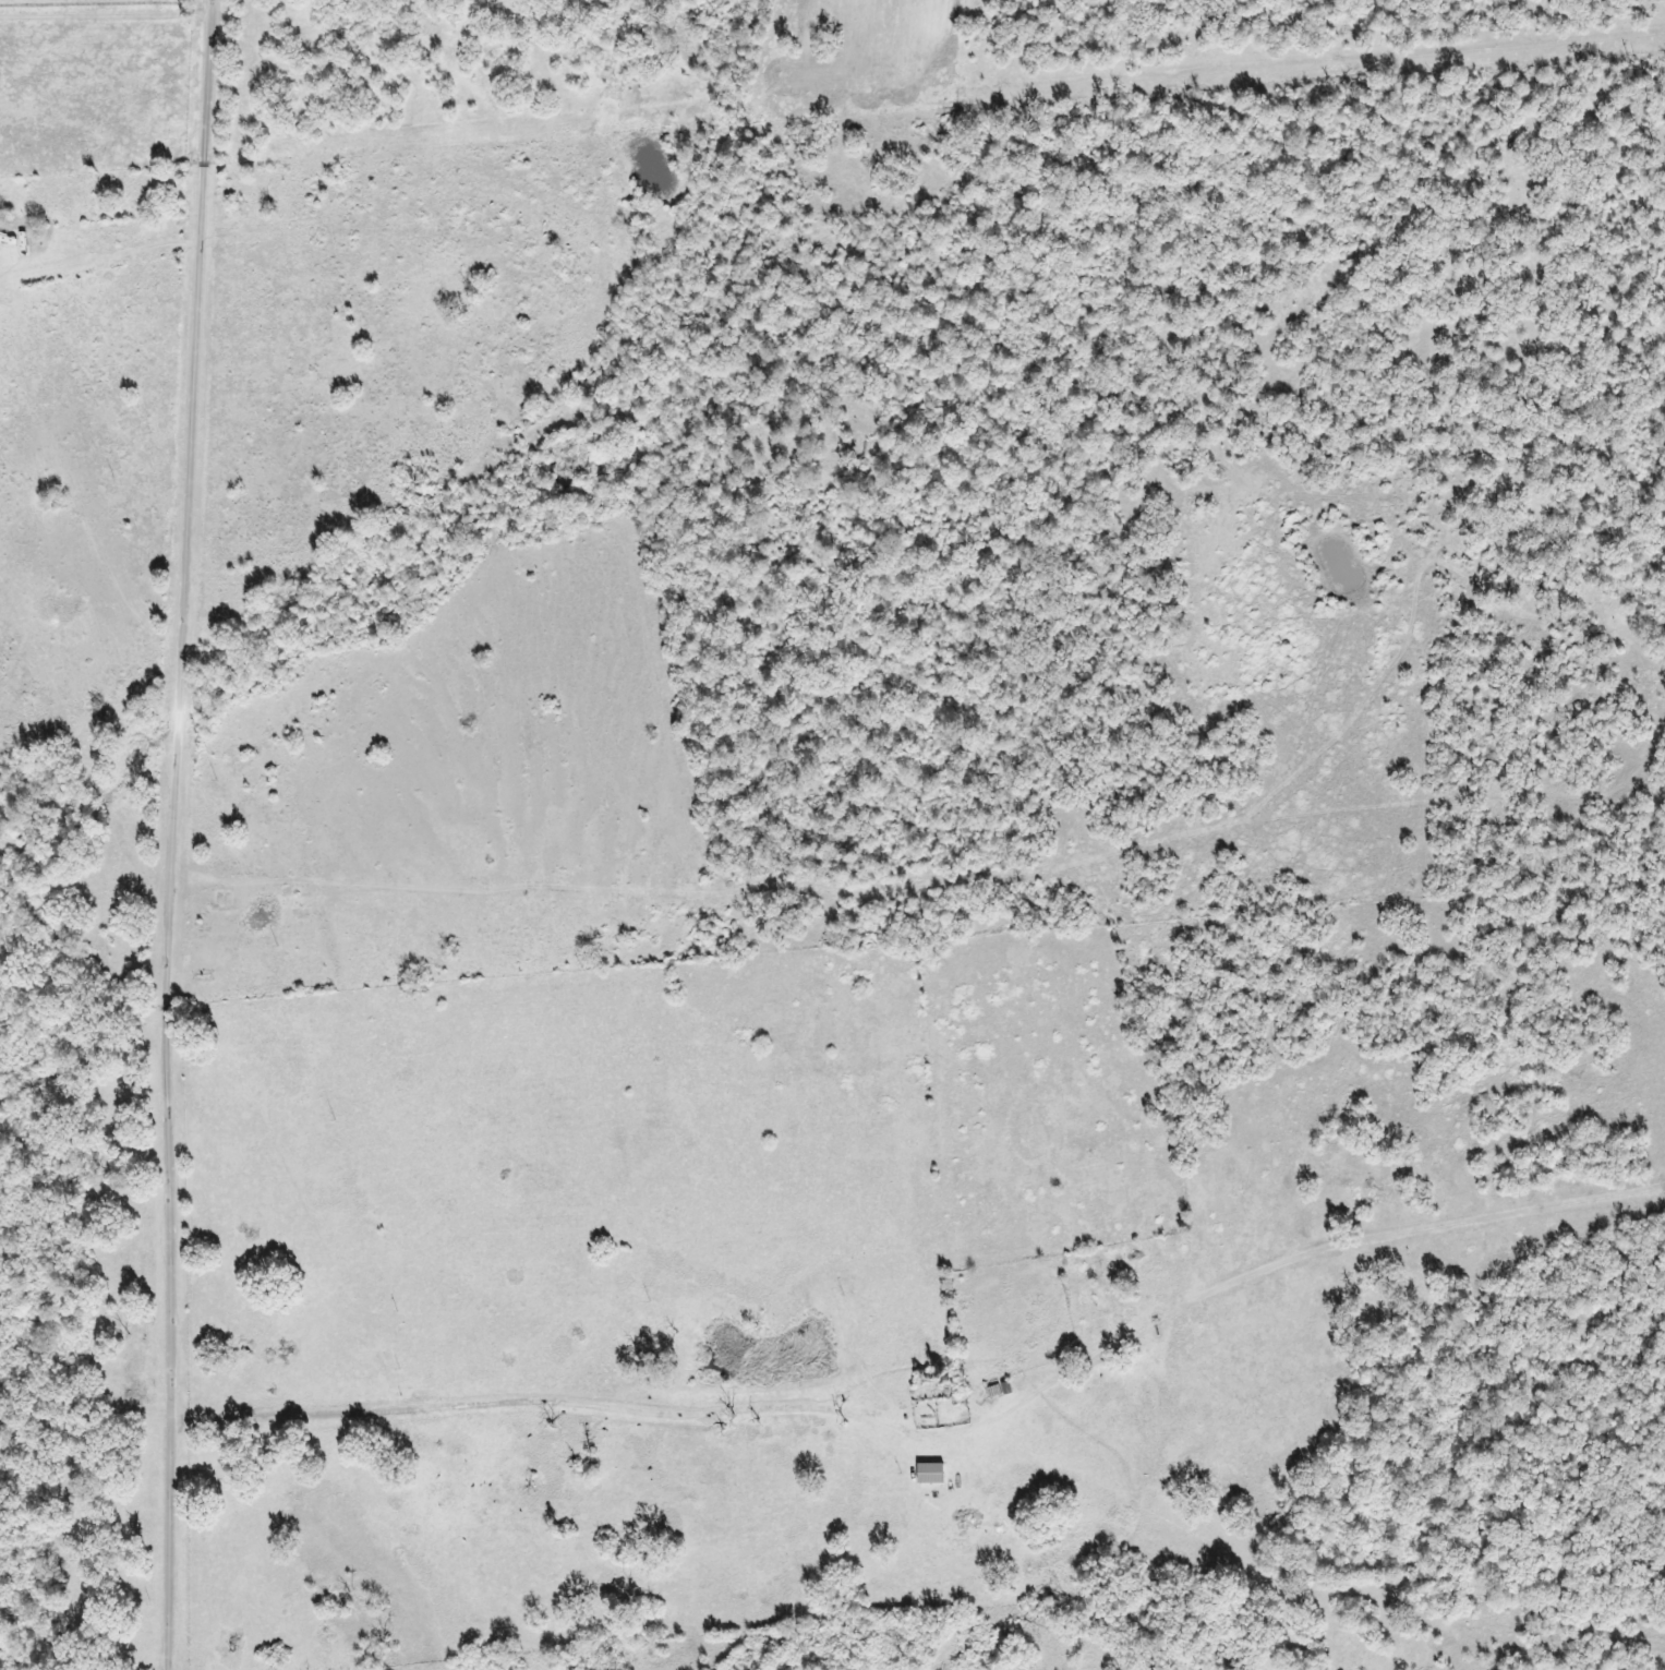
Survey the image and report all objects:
road: (177, 834)
road: (917, 1402)
building: (926, 1473)

